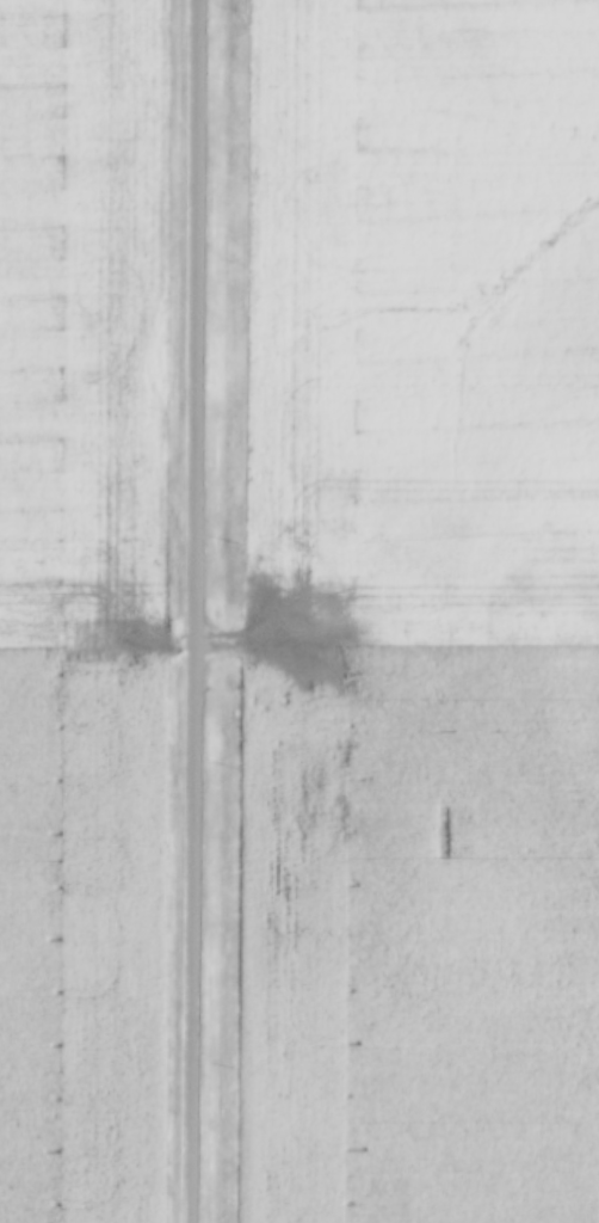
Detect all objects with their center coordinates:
road: (197, 611)
crop: (87, 613)
crop: (427, 614)
road: (277, 659)
building: (257, 694)

